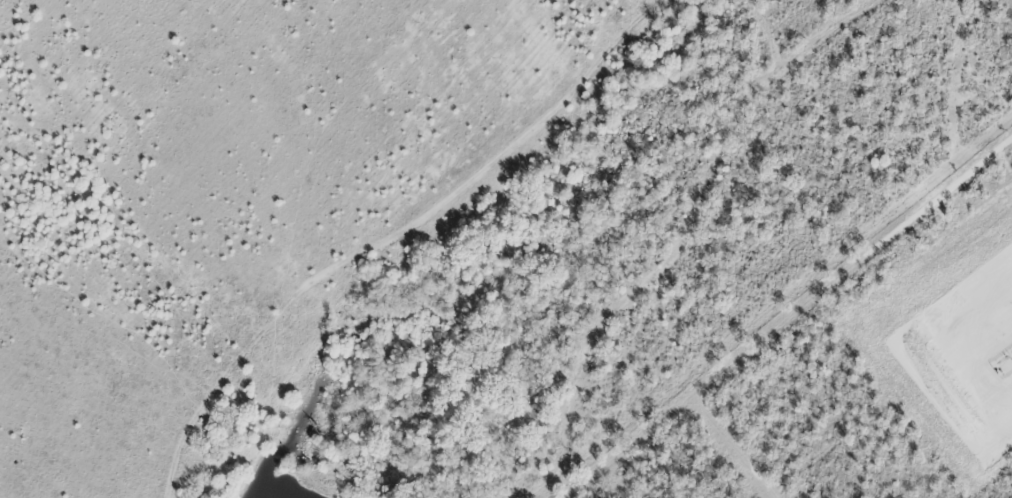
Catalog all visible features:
road: (788, 319)

